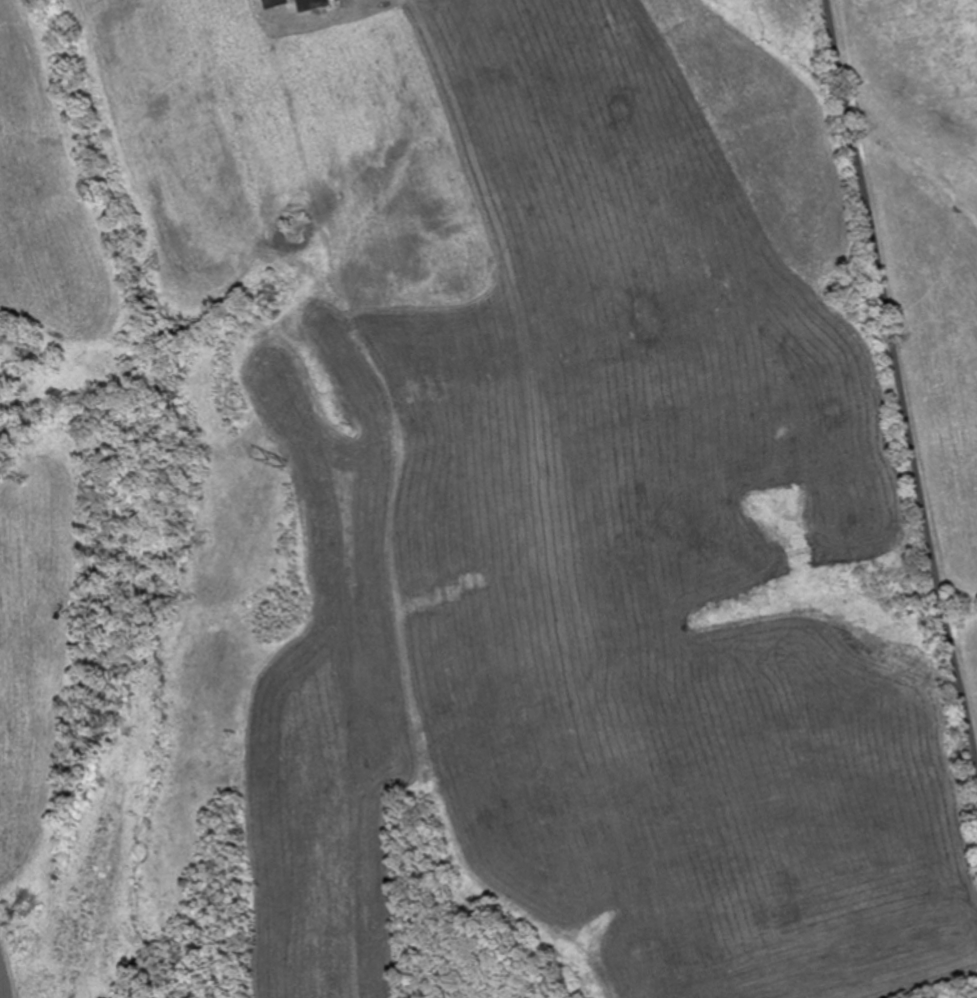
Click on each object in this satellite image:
building: (271, 3)
building: (309, 4)
road: (900, 384)
power tower: (265, 462)

